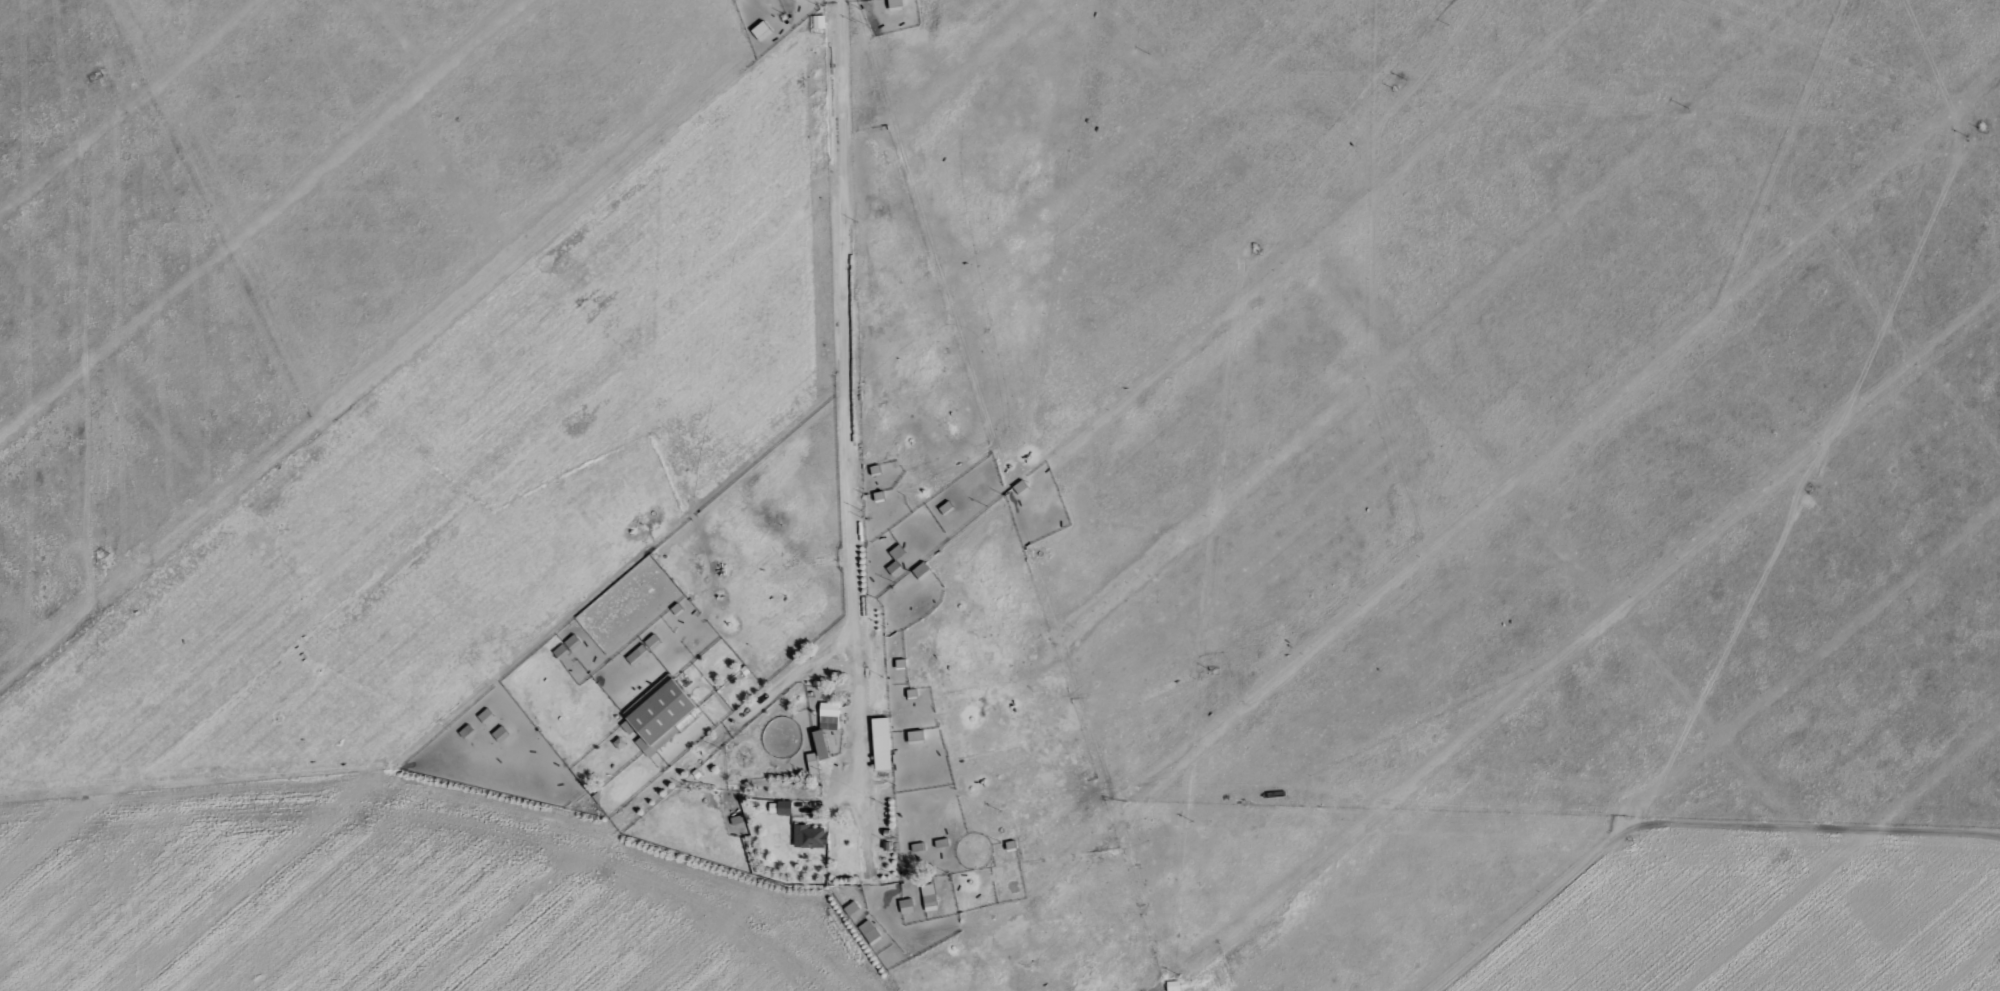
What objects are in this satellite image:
building: (795, 0)
building: (895, 4)
building: (818, 21)
building: (761, 30)
road: (854, 426)
building: (1021, 488)
building: (897, 552)
building: (894, 568)
building: (922, 571)
building: (625, 596)
building: (652, 642)
building: (566, 647)
building: (637, 655)
building: (485, 716)
building: (658, 716)
building: (828, 716)
road: (739, 724)
building: (500, 734)
building: (915, 737)
building: (881, 743)
building: (821, 745)
building: (811, 763)
building: (784, 808)
building: (736, 820)
building: (809, 836)
building: (941, 843)
building: (917, 847)
building: (928, 897)
building: (906, 906)
building: (851, 908)
building: (869, 932)
building: (1173, 985)

